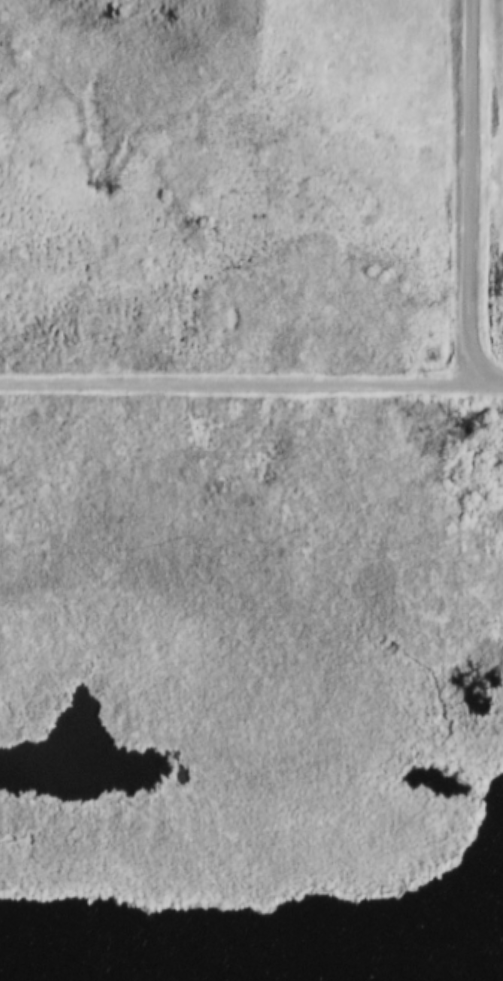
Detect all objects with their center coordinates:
road: (470, 192)
road: (236, 384)
road: (488, 384)

